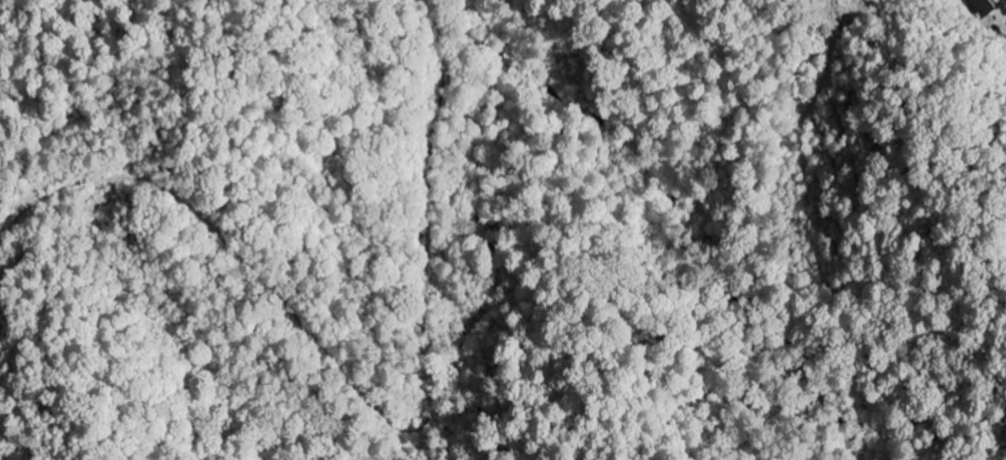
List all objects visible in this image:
building: (981, 8)

